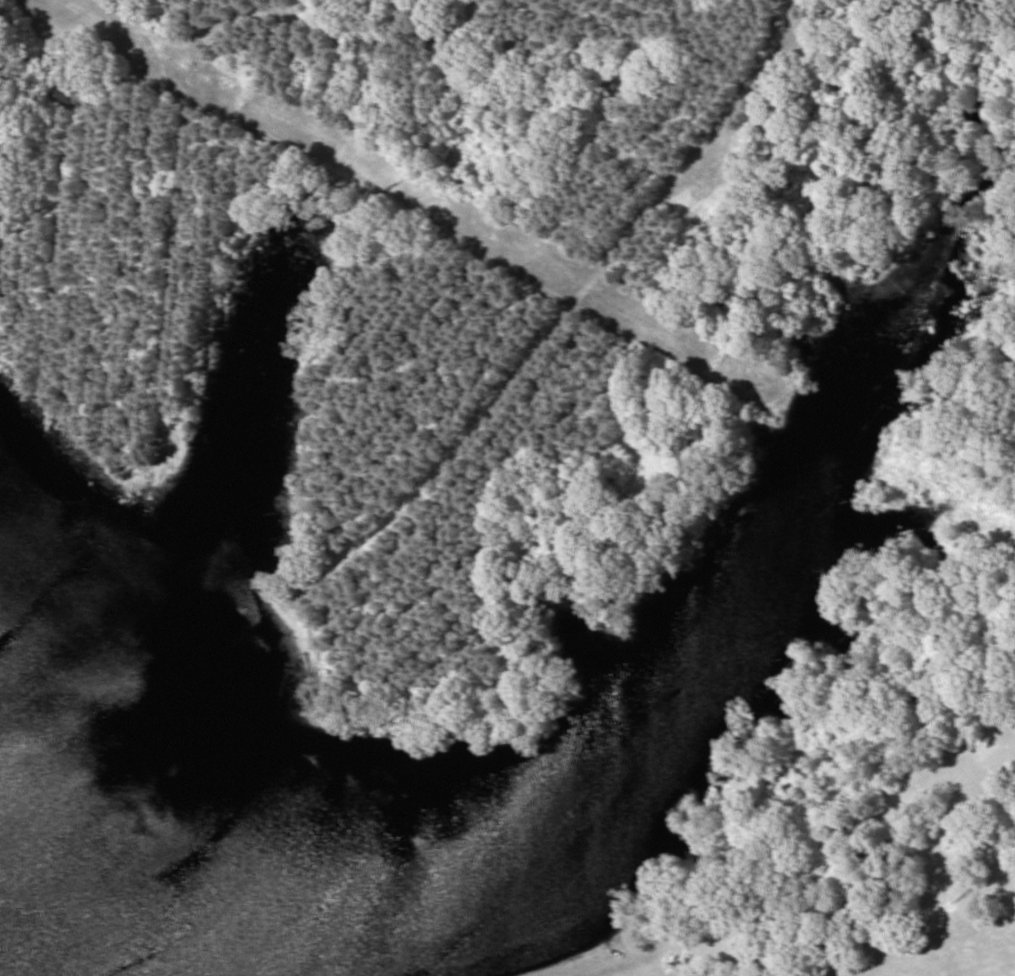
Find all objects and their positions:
road: (858, 39)

